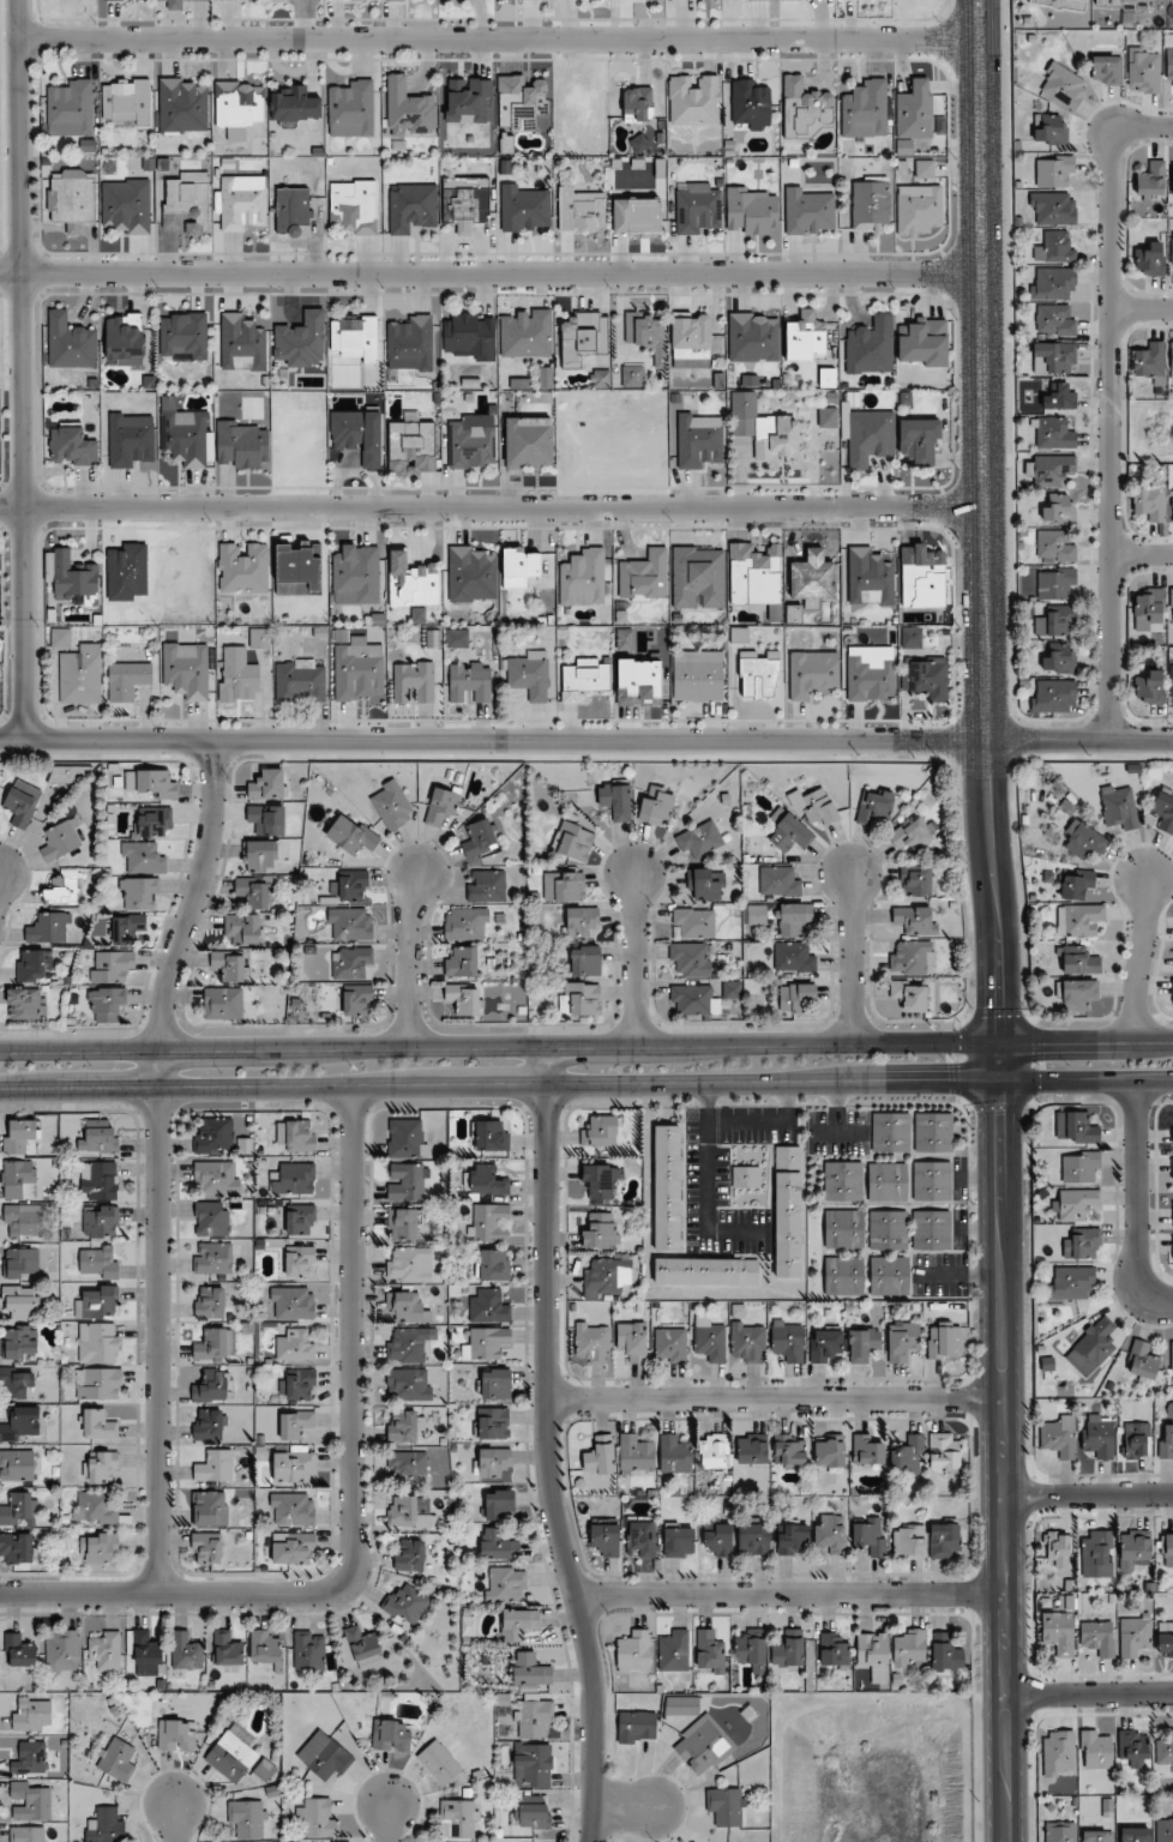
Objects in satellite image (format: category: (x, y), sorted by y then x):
building: (126, 0)
building: (397, 0)
building: (759, 0)
building: (793, 0)
building: (1060, 4)
building: (175, 5)
building: (1126, 5)
road: (981, 19)
road: (499, 38)
building: (1169, 64)
building: (1106, 71)
building: (1144, 71)
building: (1063, 86)
building: (694, 100)
building: (126, 102)
building: (239, 103)
building: (638, 104)
building: (182, 106)
building: (295, 106)
building: (750, 106)
building: (408, 108)
building: (805, 108)
building: (71, 109)
building: (350, 109)
building: (865, 109)
building: (914, 109)
road: (1141, 126)
building: (1051, 130)
building: (925, 169)
building: (1055, 170)
building: (1172, 181)
building: (1151, 182)
building: (72, 200)
building: (465, 203)
building: (870, 203)
building: (186, 204)
building: (241, 204)
building: (126, 205)
building: (354, 206)
building: (411, 206)
building: (524, 209)
building: (699, 209)
building: (1052, 209)
building: (918, 210)
building: (582, 211)
building: (751, 211)
building: (808, 211)
building: (637, 216)
building: (1055, 247)
building: (1172, 248)
building: (1150, 260)
road: (492, 273)
building: (1053, 283)
road: (1142, 308)
building: (1055, 320)
building: (527, 332)
building: (470, 335)
building: (646, 335)
building: (184, 336)
building: (355, 337)
building: (753, 337)
building: (805, 337)
building: (584, 338)
building: (124, 339)
building: (691, 341)
building: (70, 342)
building: (924, 342)
building: (241, 343)
building: (410, 344)
building: (871, 345)
building: (1054, 357)
building: (1172, 359)
building: (1151, 362)
road: (18, 369)
building: (632, 375)
building: (546, 378)
building: (600, 378)
building: (826, 378)
building: (1061, 397)
building: (828, 417)
building: (764, 428)
road: (1111, 432)
building: (1053, 433)
building: (359, 434)
building: (185, 437)
building: (130, 438)
building: (870, 438)
building: (698, 439)
building: (920, 441)
building: (529, 443)
building: (240, 444)
building: (71, 445)
building: (411, 447)
building: (1051, 469)
building: (1149, 504)
road: (494, 506)
building: (1060, 508)
road: (988, 541)
building: (1054, 547)
road: (1142, 555)
building: (522, 562)
building: (243, 567)
building: (471, 574)
building: (644, 574)
building: (754, 574)
building: (356, 576)
building: (76, 577)
building: (698, 577)
building: (812, 577)
building: (870, 578)
building: (583, 579)
building: (413, 582)
building: (1055, 582)
building: (1172, 601)
building: (1148, 607)
building: (792, 616)
building: (1057, 621)
building: (60, 638)
building: (259, 638)
building: (457, 638)
building: (910, 638)
building: (1058, 658)
building: (186, 669)
building: (357, 669)
building: (529, 674)
building: (758, 674)
building: (812, 674)
building: (82, 675)
building: (236, 675)
building: (698, 675)
building: (871, 675)
building: (927, 676)
building: (585, 678)
building: (127, 681)
building: (470, 681)
building: (299, 682)
building: (414, 682)
building: (1171, 684)
building: (1149, 688)
building: (1053, 696)
road: (494, 738)
road: (1081, 739)
building: (70, 775)
building: (156, 784)
building: (269, 784)
building: (615, 800)
building: (392, 805)
building: (657, 805)
building: (874, 805)
building: (19, 806)
building: (814, 806)
building: (1119, 806)
building: (440, 807)
building: (1163, 812)
building: (267, 819)
building: (155, 821)
building: (913, 833)
building: (351, 835)
building: (790, 835)
building: (481, 838)
building: (699, 839)
building: (61, 841)
building: (573, 841)
building: (1084, 841)
building: (259, 856)
building: (143, 857)
building: (780, 881)
building: (916, 881)
building: (706, 884)
building: (1076, 884)
building: (353, 885)
building: (486, 886)
building: (569, 887)
building: (62, 889)
building: (254, 891)
building: (138, 893)
building: (756, 914)
building: (792, 919)
building: (916, 920)
building: (1079, 920)
building: (581, 921)
building: (350, 923)
building: (467, 923)
building: (693, 923)
building: (49, 928)
building: (127, 928)
building: (242, 929)
building: (793, 957)
road: (633, 958)
building: (691, 958)
building: (913, 958)
road: (407, 959)
building: (584, 961)
road: (853, 961)
building: (1078, 961)
road: (1142, 961)
building: (350, 962)
building: (463, 963)
building: (34, 965)
building: (228, 965)
building: (110, 967)
building: (732, 989)
building: (909, 995)
building: (1077, 995)
building: (795, 997)
building: (464, 999)
building: (579, 999)
building: (359, 1000)
building: (694, 1000)
building: (223, 1003)
traffic signals: (1001, 1003)
building: (25, 1004)
building: (106, 1004)
traffic signals: (1054, 1043)
road: (1087, 1043)
road: (500, 1046)
traffic signals: (943, 1083)
road: (586, 1085)
road: (836, 1109)
road: (766, 1122)
traffic signals: (1001, 1124)
building: (1076, 1128)
building: (601, 1132)
building: (890, 1132)
building: (933, 1132)
building: (296, 1134)
road: (838, 1134)
building: (492, 1136)
building: (19, 1137)
building: (213, 1137)
building: (97, 1138)
building: (405, 1138)
road: (157, 1161)
building: (1081, 1167)
building: (216, 1176)
building: (746, 1176)
building: (17, 1179)
building: (294, 1179)
building: (98, 1180)
road: (975, 1180)
building: (487, 1181)
building: (843, 1181)
building: (932, 1181)
building: (408, 1182)
building: (601, 1182)
building: (886, 1182)
building: (667, 1188)
road: (705, 1191)
building: (1076, 1205)
road: (1138, 1205)
building: (788, 1211)
building: (211, 1218)
building: (300, 1218)
building: (22, 1221)
building: (100, 1221)
building: (489, 1223)
building: (403, 1224)
building: (844, 1229)
building: (602, 1230)
building: (888, 1230)
building: (931, 1230)
road: (976, 1230)
building: (1083, 1245)
building: (212, 1259)
building: (98, 1262)
building: (300, 1262)
building: (22, 1263)
building: (409, 1264)
building: (493, 1264)
building: (706, 1271)
road: (956, 1275)
building: (843, 1276)
building: (889, 1276)
building: (607, 1277)
building: (1070, 1282)
building: (22, 1301)
building: (97, 1302)
building: (209, 1302)
building: (291, 1302)
building: (487, 1306)
building: (407, 1307)
building: (709, 1340)
building: (788, 1340)
building: (943, 1340)
building: (632, 1341)
building: (902, 1341)
building: (20, 1342)
building: (97, 1342)
building: (747, 1342)
building: (486, 1343)
building: (592, 1343)
building: (215, 1344)
building: (408, 1344)
building: (825, 1344)
building: (862, 1344)
building: (1096, 1344)
building: (296, 1346)
building: (670, 1346)
building: (1172, 1355)
building: (1142, 1361)
building: (98, 1384)
building: (297, 1384)
building: (409, 1384)
building: (494, 1384)
building: (211, 1386)
road: (776, 1399)
building: (492, 1422)
building: (295, 1423)
building: (20, 1425)
building: (98, 1425)
building: (207, 1425)
building: (404, 1426)
building: (1097, 1435)
building: (1060, 1437)
road: (1004, 1441)
building: (1135, 1441)
building: (1165, 1441)
road: (551, 1446)
building: (752, 1449)
building: (789, 1450)
building: (714, 1451)
building: (830, 1451)
building: (867, 1452)
building: (945, 1452)
building: (636, 1455)
building: (674, 1455)
building: (600, 1456)
building: (908, 1456)
building: (492, 1463)
building: (16, 1465)
building: (408, 1465)
building: (215, 1467)
building: (294, 1467)
building: (102, 1468)
road: (1089, 1494)
building: (499, 1505)
building: (94, 1507)
building: (210, 1507)
road: (351, 1507)
building: (18, 1510)
building: (291, 1510)
building: (411, 1512)
building: (830, 1534)
building: (870, 1535)
building: (606, 1536)
building: (792, 1537)
building: (640, 1539)
building: (753, 1539)
building: (679, 1540)
building: (717, 1540)
building: (944, 1540)
building: (908, 1541)
building: (498, 1545)
building: (18, 1548)
building: (101, 1548)
building: (206, 1548)
building: (293, 1548)
building: (1168, 1548)
building: (1135, 1551)
building: (1059, 1552)
building: (1096, 1554)
building: (410, 1555)
building: (505, 1585)
road: (792, 1594)
building: (407, 1605)
building: (518, 1625)
building: (1059, 1633)
building: (1135, 1633)
building: (1099, 1638)
building: (1165, 1645)
building: (363, 1648)
building: (227, 1649)
building: (265, 1649)
building: (751, 1649)
building: (788, 1649)
building: (910, 1649)
building: (17, 1650)
building: (106, 1650)
building: (309, 1650)
building: (673, 1650)
building: (834, 1650)
building: (872, 1650)
building: (148, 1651)
building: (186, 1651)
building: (633, 1651)
building: (61, 1653)
building: (710, 1653)
building: (946, 1654)
building: (531, 1669)
road: (1090, 1692)
building: (681, 1705)
building: (31, 1714)
building: (533, 1718)
building: (637, 1727)
building: (176, 1735)
building: (391, 1735)
building: (702, 1745)
building: (1133, 1748)
building: (1096, 1750)
building: (1059, 1753)
building: (1165, 1753)
building: (231, 1757)
building: (30, 1758)
building: (116, 1760)
building: (329, 1760)
building: (439, 1763)
building: (533, 1765)
building: (265, 1770)
building: (30, 1801)
building: (724, 1806)
road: (624, 1808)
building: (531, 1813)
building: (318, 1817)
building: (248, 1818)
building: (459, 1819)
road: (175, 1822)
road: (390, 1822)
building: (106, 1826)
building: (1165, 1828)
building: (1060, 1832)
building: (26, 1834)
building: (1135, 1835)
building: (1096, 1836)

